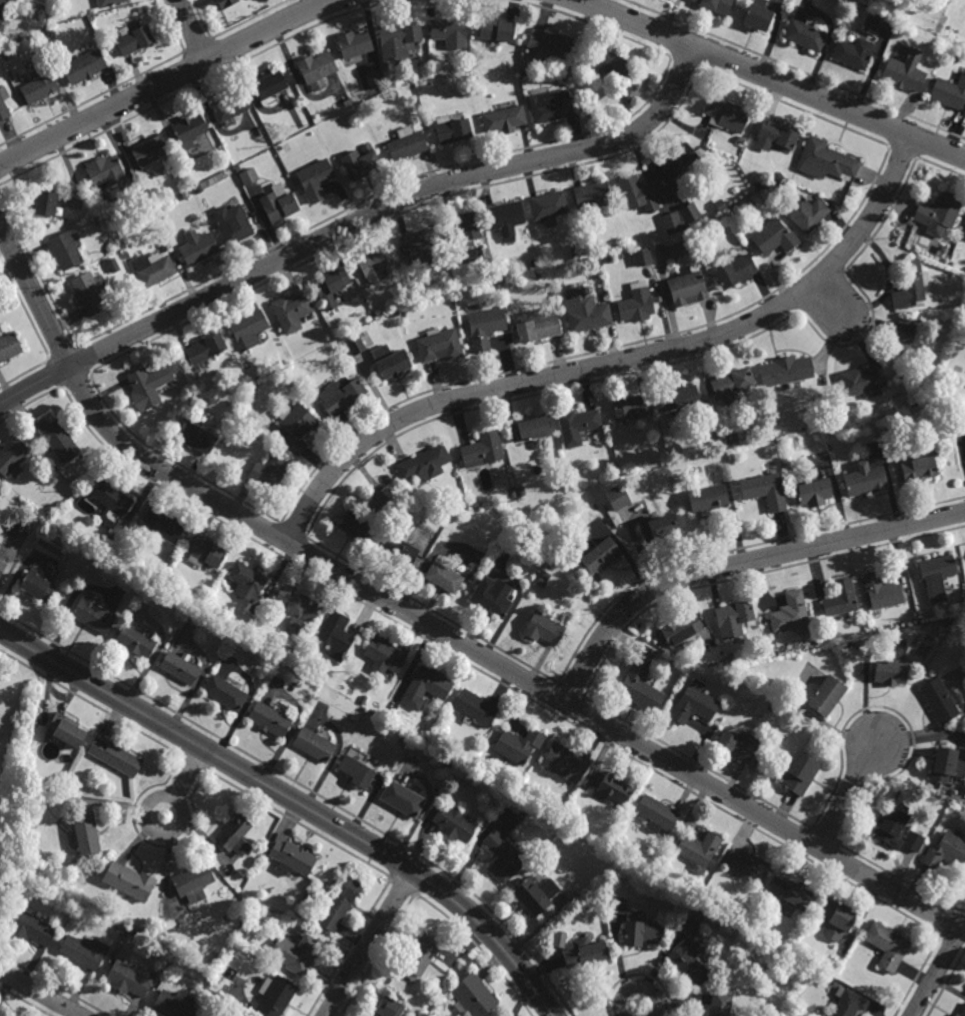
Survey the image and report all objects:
building: (107, 2)
building: (224, 2)
building: (716, 5)
building: (2, 12)
building: (758, 14)
building: (872, 23)
building: (447, 27)
building: (497, 28)
road: (192, 30)
building: (52, 32)
building: (806, 34)
building: (135, 37)
building: (397, 38)
building: (355, 43)
building: (548, 45)
building: (854, 51)
building: (85, 65)
building: (572, 67)
building: (316, 68)
building: (584, 69)
building: (614, 69)
building: (904, 70)
road: (771, 78)
building: (373, 79)
building: (474, 79)
road: (165, 81)
building: (40, 82)
building: (269, 84)
building: (949, 91)
building: (392, 92)
building: (3, 101)
building: (229, 104)
building: (551, 105)
building: (726, 114)
building: (504, 117)
building: (189, 128)
building: (451, 128)
building: (777, 134)
building: (742, 140)
building: (406, 142)
building: (286, 147)
building: (151, 149)
building: (827, 158)
building: (678, 160)
building: (360, 161)
building: (104, 169)
building: (248, 175)
building: (780, 175)
building: (315, 178)
building: (196, 187)
building: (639, 192)
building: (592, 195)
building: (177, 197)
building: (46, 201)
building: (278, 202)
building: (752, 202)
building: (548, 204)
building: (721, 204)
building: (690, 211)
building: (807, 211)
building: (938, 213)
building: (507, 218)
road: (355, 219)
building: (232, 222)
building: (672, 222)
building: (466, 226)
building: (775, 237)
building: (197, 246)
building: (423, 246)
building: (609, 247)
building: (941, 248)
building: (64, 249)
building: (678, 249)
building: (574, 251)
building: (125, 254)
building: (619, 254)
building: (643, 256)
building: (610, 257)
building: (376, 263)
building: (112, 264)
building: (535, 264)
building: (153, 268)
building: (737, 270)
building: (537, 275)
building: (447, 284)
building: (910, 284)
building: (330, 285)
building: (497, 287)
building: (688, 287)
building: (87, 292)
road: (828, 298)
building: (637, 303)
building: (292, 310)
building: (586, 310)
building: (378, 311)
building: (395, 313)
building: (537, 326)
building: (485, 327)
building: (249, 328)
building: (902, 338)
building: (355, 344)
building: (438, 344)
building: (9, 345)
building: (206, 350)
road: (616, 360)
building: (390, 361)
building: (787, 370)
building: (864, 381)
building: (148, 385)
building: (733, 385)
building: (194, 395)
building: (341, 395)
building: (680, 399)
building: (917, 403)
building: (632, 407)
building: (577, 425)
building: (296, 427)
building: (529, 429)
building: (196, 437)
building: (56, 439)
building: (483, 448)
building: (12, 455)
building: (424, 463)
building: (917, 470)
building: (268, 471)
building: (868, 482)
building: (522, 491)
building: (766, 492)
building: (511, 493)
building: (815, 493)
building: (618, 498)
building: (460, 499)
building: (709, 499)
building: (112, 504)
building: (54, 517)
building: (163, 522)
building: (355, 526)
building: (659, 530)
building: (396, 546)
building: (204, 549)
building: (601, 552)
building: (550, 562)
road: (737, 562)
building: (2, 564)
building: (935, 570)
building: (443, 575)
building: (470, 576)
building: (245, 579)
building: (38, 582)
building: (542, 582)
building: (881, 590)
building: (489, 597)
building: (839, 597)
building: (295, 606)
road: (511, 609)
building: (94, 610)
building: (791, 610)
building: (734, 617)
road: (434, 624)
building: (543, 628)
building: (682, 629)
building: (335, 634)
building: (135, 640)
building: (772, 644)
building: (732, 654)
building: (381, 655)
building: (727, 661)
building: (177, 665)
building: (887, 671)
building: (427, 684)
building: (640, 687)
building: (223, 692)
building: (824, 695)
building: (362, 699)
building: (938, 700)
building: (694, 703)
building: (771, 705)
building: (474, 707)
building: (396, 715)
building: (267, 718)
building: (67, 728)
building: (740, 742)
building: (311, 743)
building: (518, 744)
building: (113, 755)
building: (432, 759)
building: (565, 762)
building: (944, 764)
building: (354, 771)
building: (798, 773)
building: (614, 787)
road: (847, 794)
building: (401, 798)
road: (295, 800)
road: (147, 807)
building: (656, 813)
building: (453, 821)
building: (890, 827)
building: (87, 831)
building: (233, 834)
building: (912, 841)
building: (699, 850)
building: (945, 851)
building: (502, 856)
building: (290, 858)
building: (748, 864)
building: (241, 878)
building: (128, 881)
building: (191, 882)
building: (790, 892)
building: (534, 894)
building: (339, 903)
building: (617, 905)
building: (299, 916)
building: (834, 919)
building: (689, 926)
building: (32, 927)
building: (641, 929)
building: (239, 937)
building: (558, 938)
road: (369, 943)
building: (885, 945)
building: (85, 951)
building: (296, 953)
building: (585, 953)
building: (418, 956)
building: (689, 962)
road: (937, 971)
building: (129, 979)
road: (639, 985)
road: (42, 993)
building: (273, 995)
building: (472, 995)
building: (846, 1003)
building: (173, 1004)
building: (720, 1004)
building: (388, 1007)
building: (961, 1012)
building: (821, 1013)

